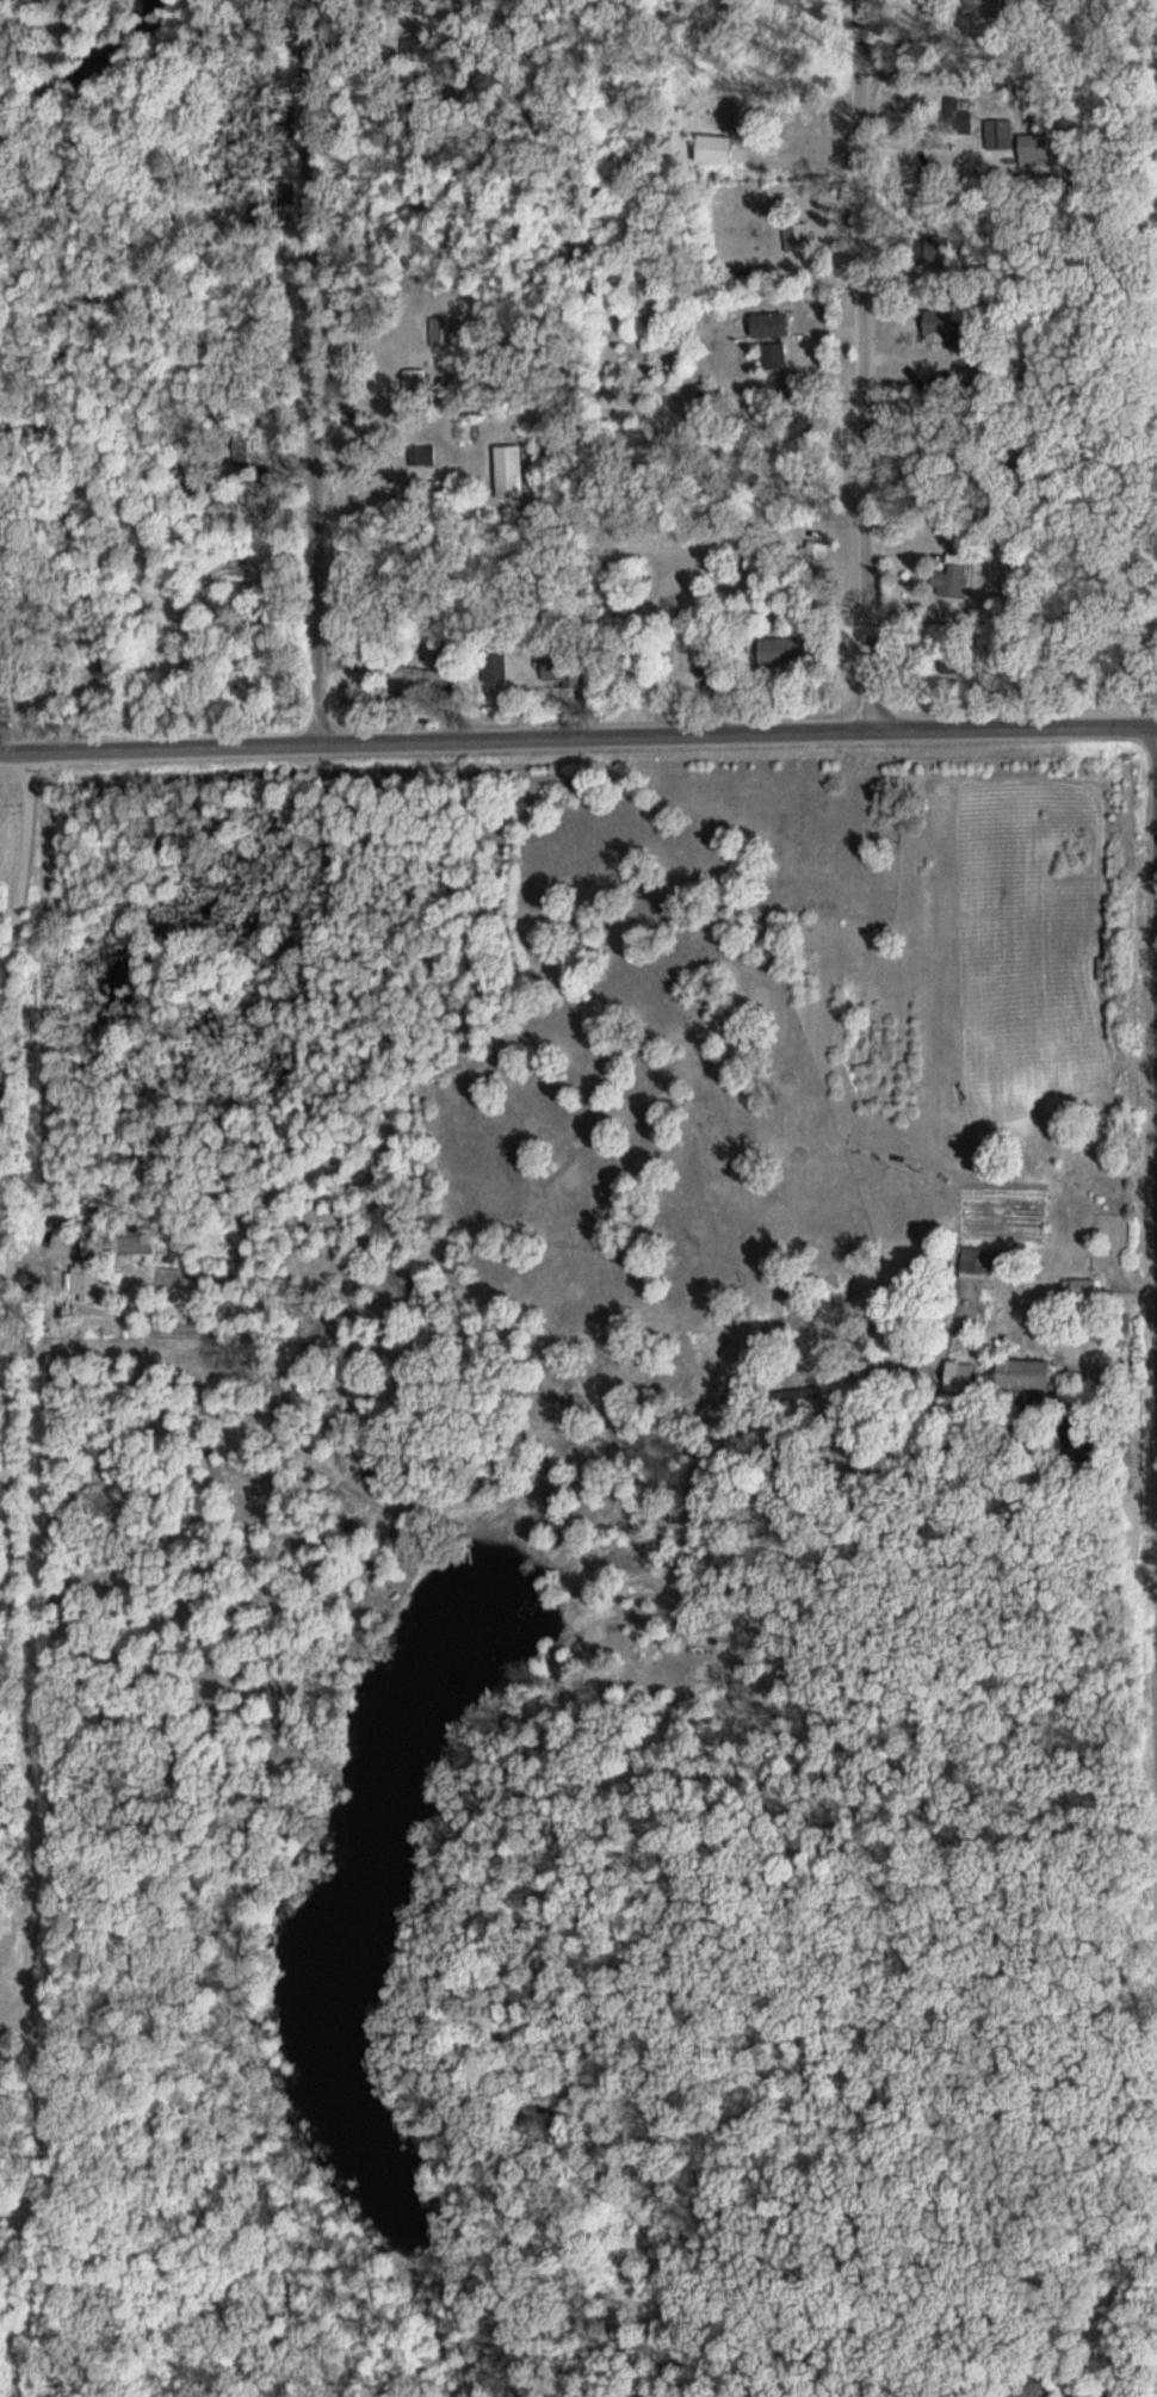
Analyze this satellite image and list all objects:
building: (422, 124)
building: (799, 239)
building: (774, 326)
building: (778, 356)
road: (868, 366)
road: (321, 373)
building: (416, 381)
building: (428, 456)
building: (513, 471)
building: (260, 495)
building: (815, 554)
building: (785, 653)
building: (497, 665)
building: (421, 673)
building: (562, 673)
road: (577, 740)
road: (21, 1042)
road: (21, 1167)
road: (43, 1248)
building: (980, 1261)
building: (89, 1281)
building: (1087, 1291)
building: (1072, 1361)
building: (1026, 1373)
road: (23, 1749)
building: (1031, 2385)

